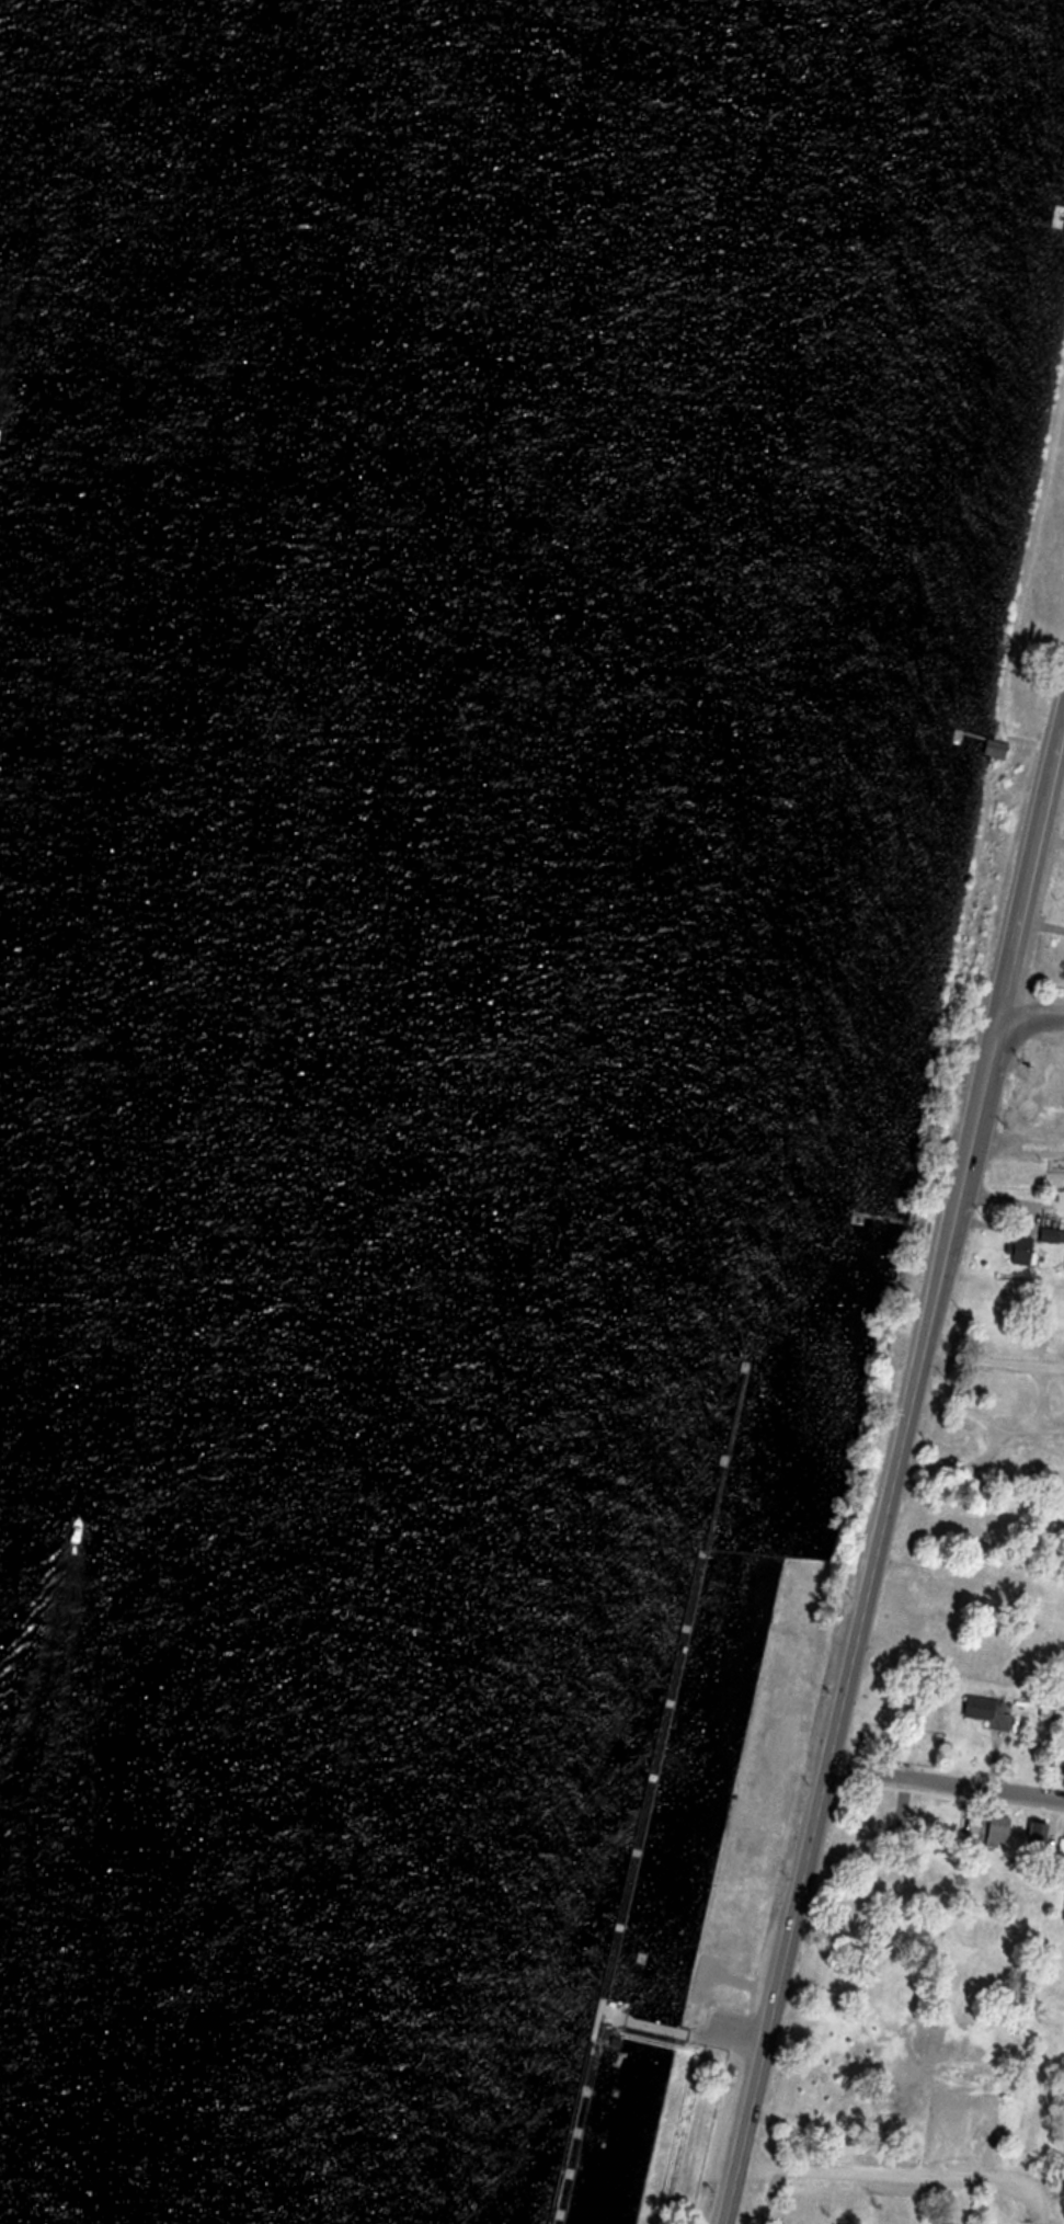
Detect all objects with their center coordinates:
road: (1032, 868)
river: (224, 899)
road: (1032, 1013)
road: (913, 1388)
road: (945, 1781)
river: (65, 1932)
road: (782, 1964)
road: (907, 2172)
road: (730, 2193)

